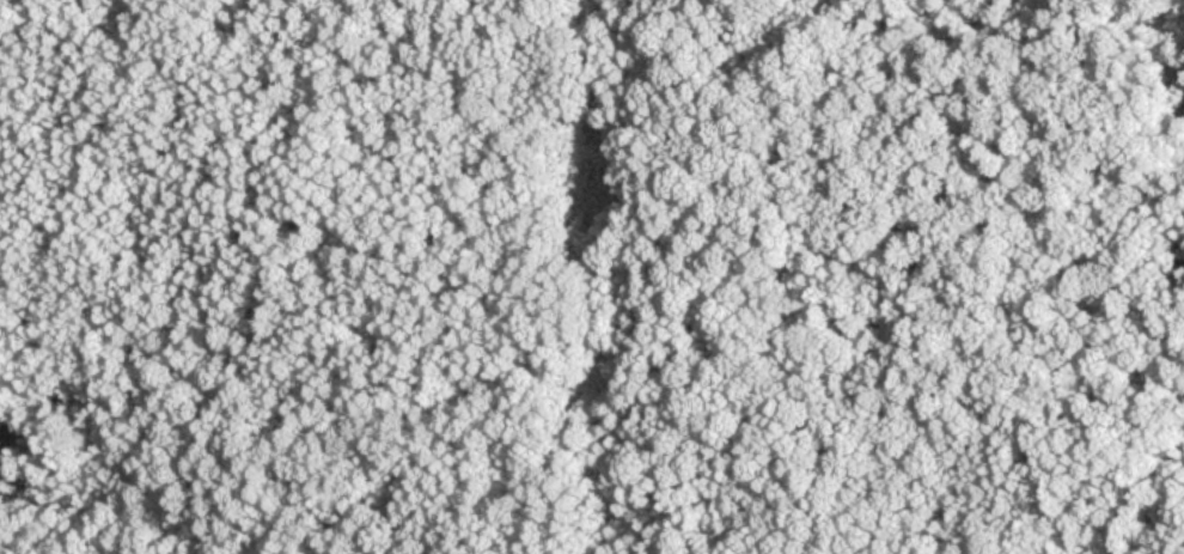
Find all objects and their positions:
park: (592, 276)

